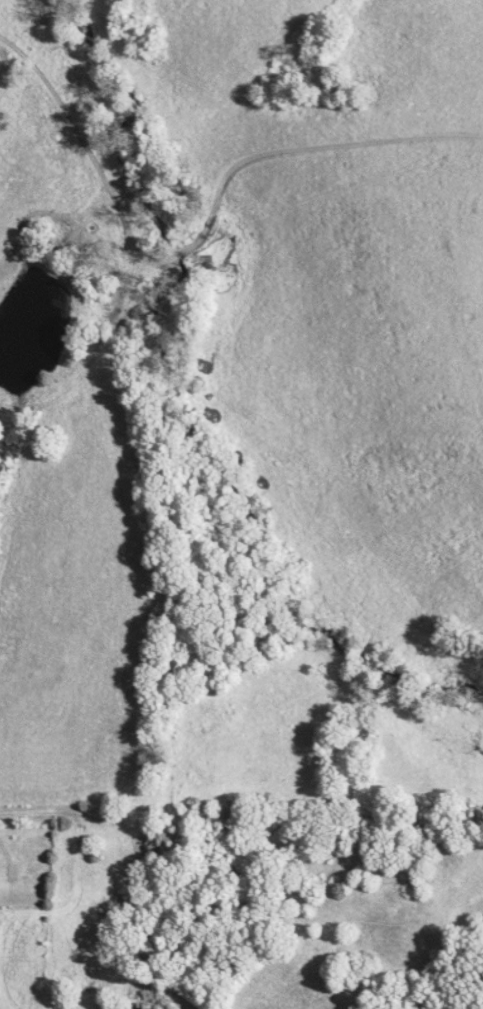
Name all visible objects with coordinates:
road: (201, 236)

